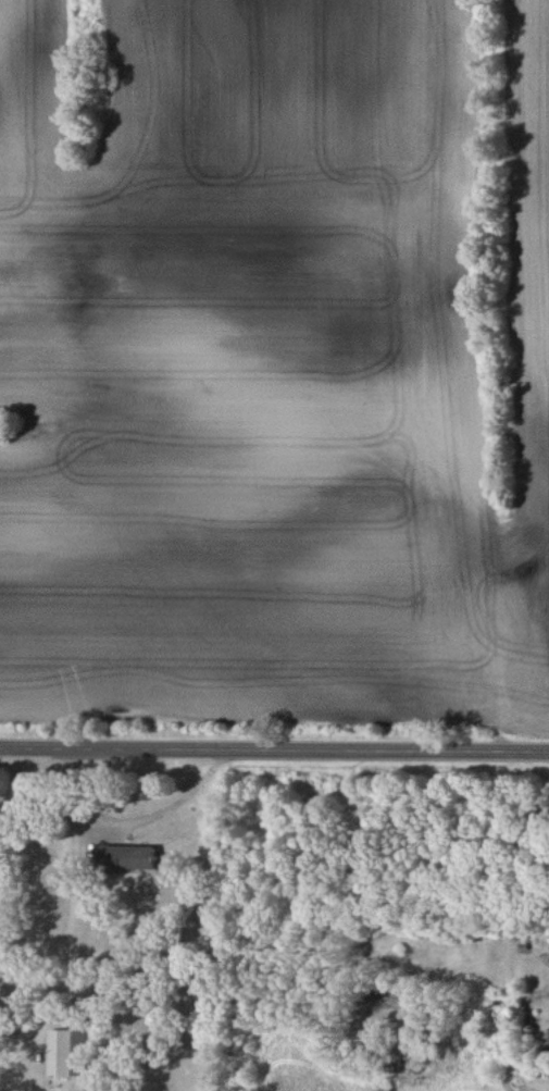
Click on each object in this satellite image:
road: (274, 746)
building: (134, 857)
building: (58, 1052)

